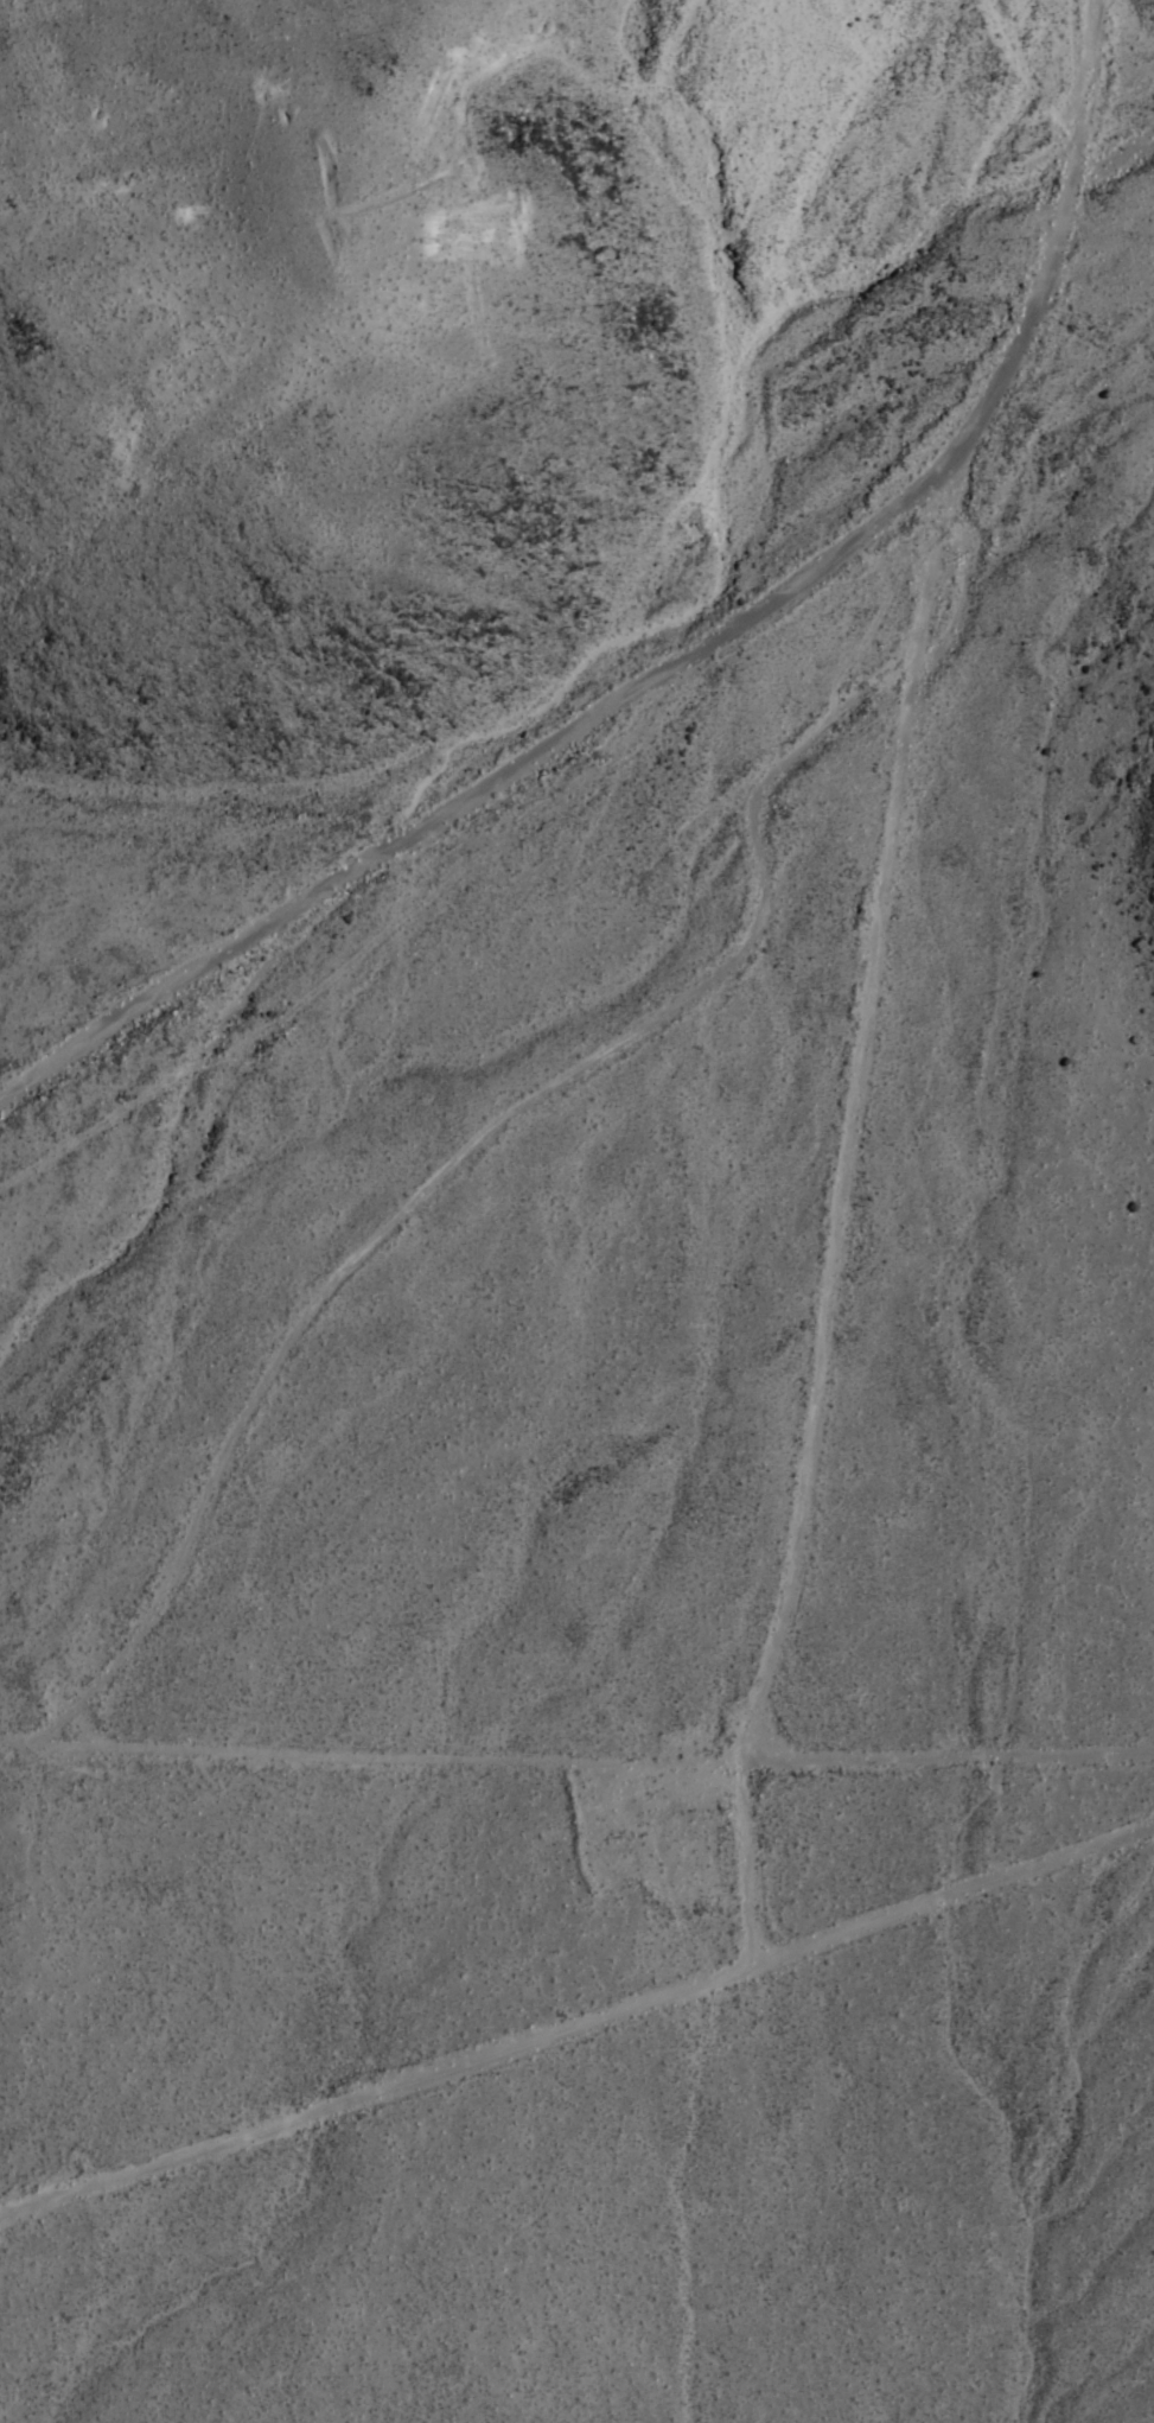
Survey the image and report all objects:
road: (871, 972)
road: (63, 1051)
road: (575, 1757)
road: (576, 2018)

